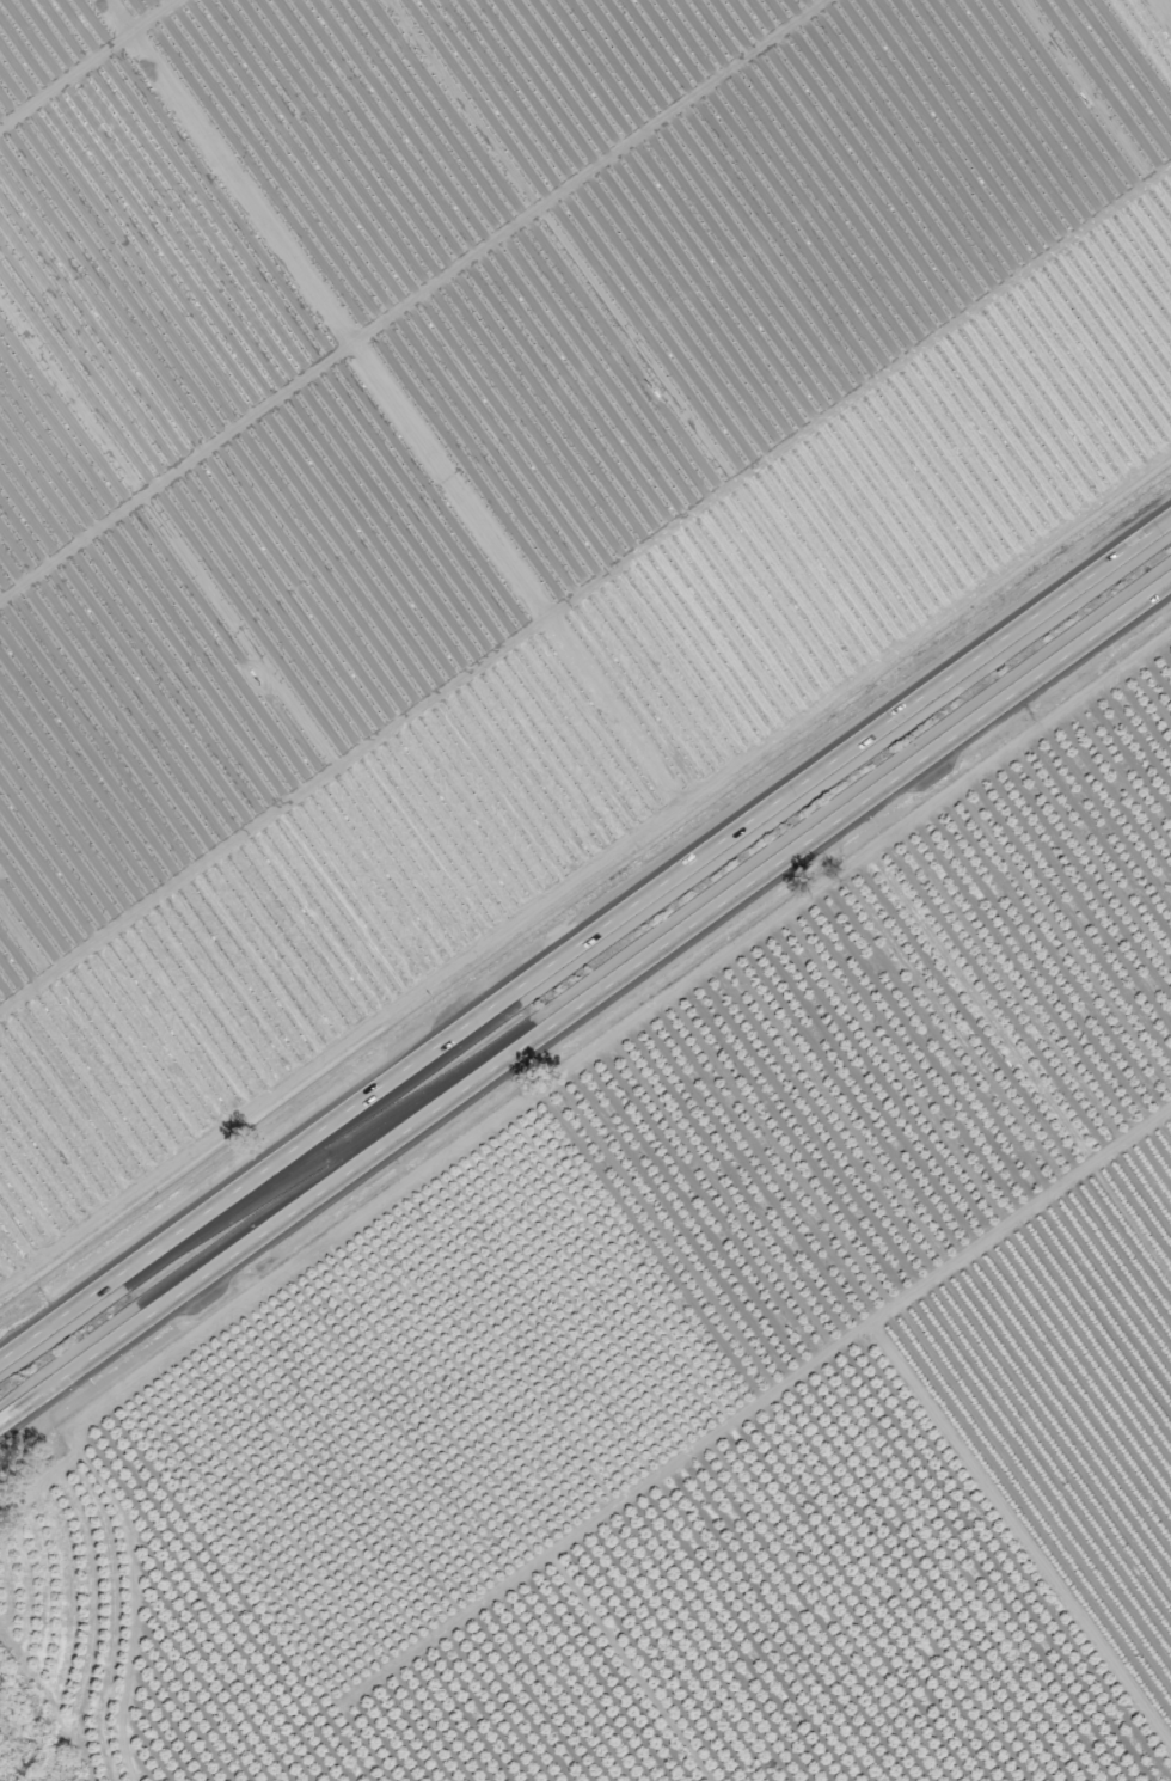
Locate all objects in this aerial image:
road: (584, 938)
road: (584, 999)

